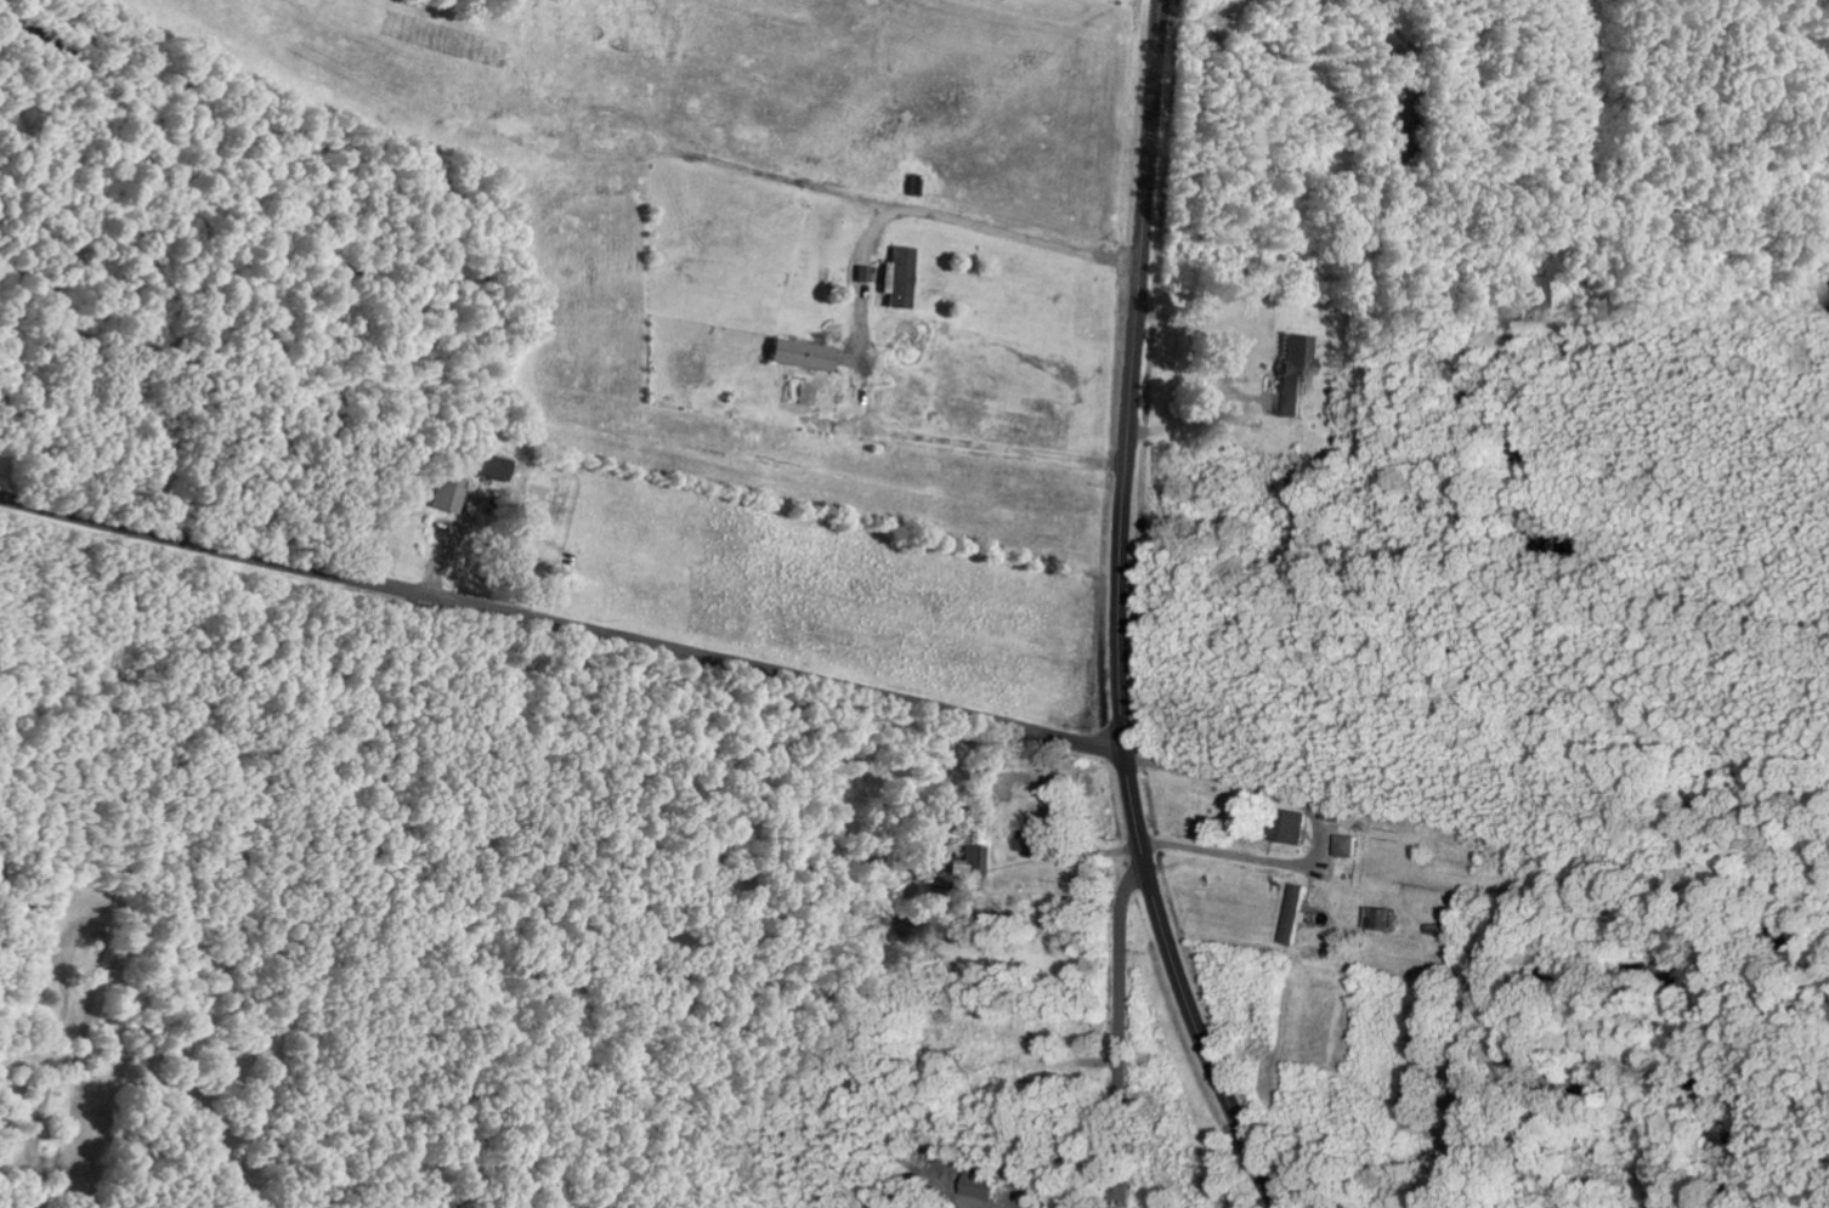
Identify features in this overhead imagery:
building: (865, 272)
building: (1529, 299)
building: (804, 353)
building: (1296, 373)
building: (496, 466)
building: (448, 493)
road: (1122, 618)
road: (564, 624)
building: (1293, 827)
building: (1032, 841)
building: (1347, 845)
building: (972, 862)
building: (935, 878)
building: (1296, 914)
building: (1381, 918)
road: (1122, 1025)
building: (984, 1186)

